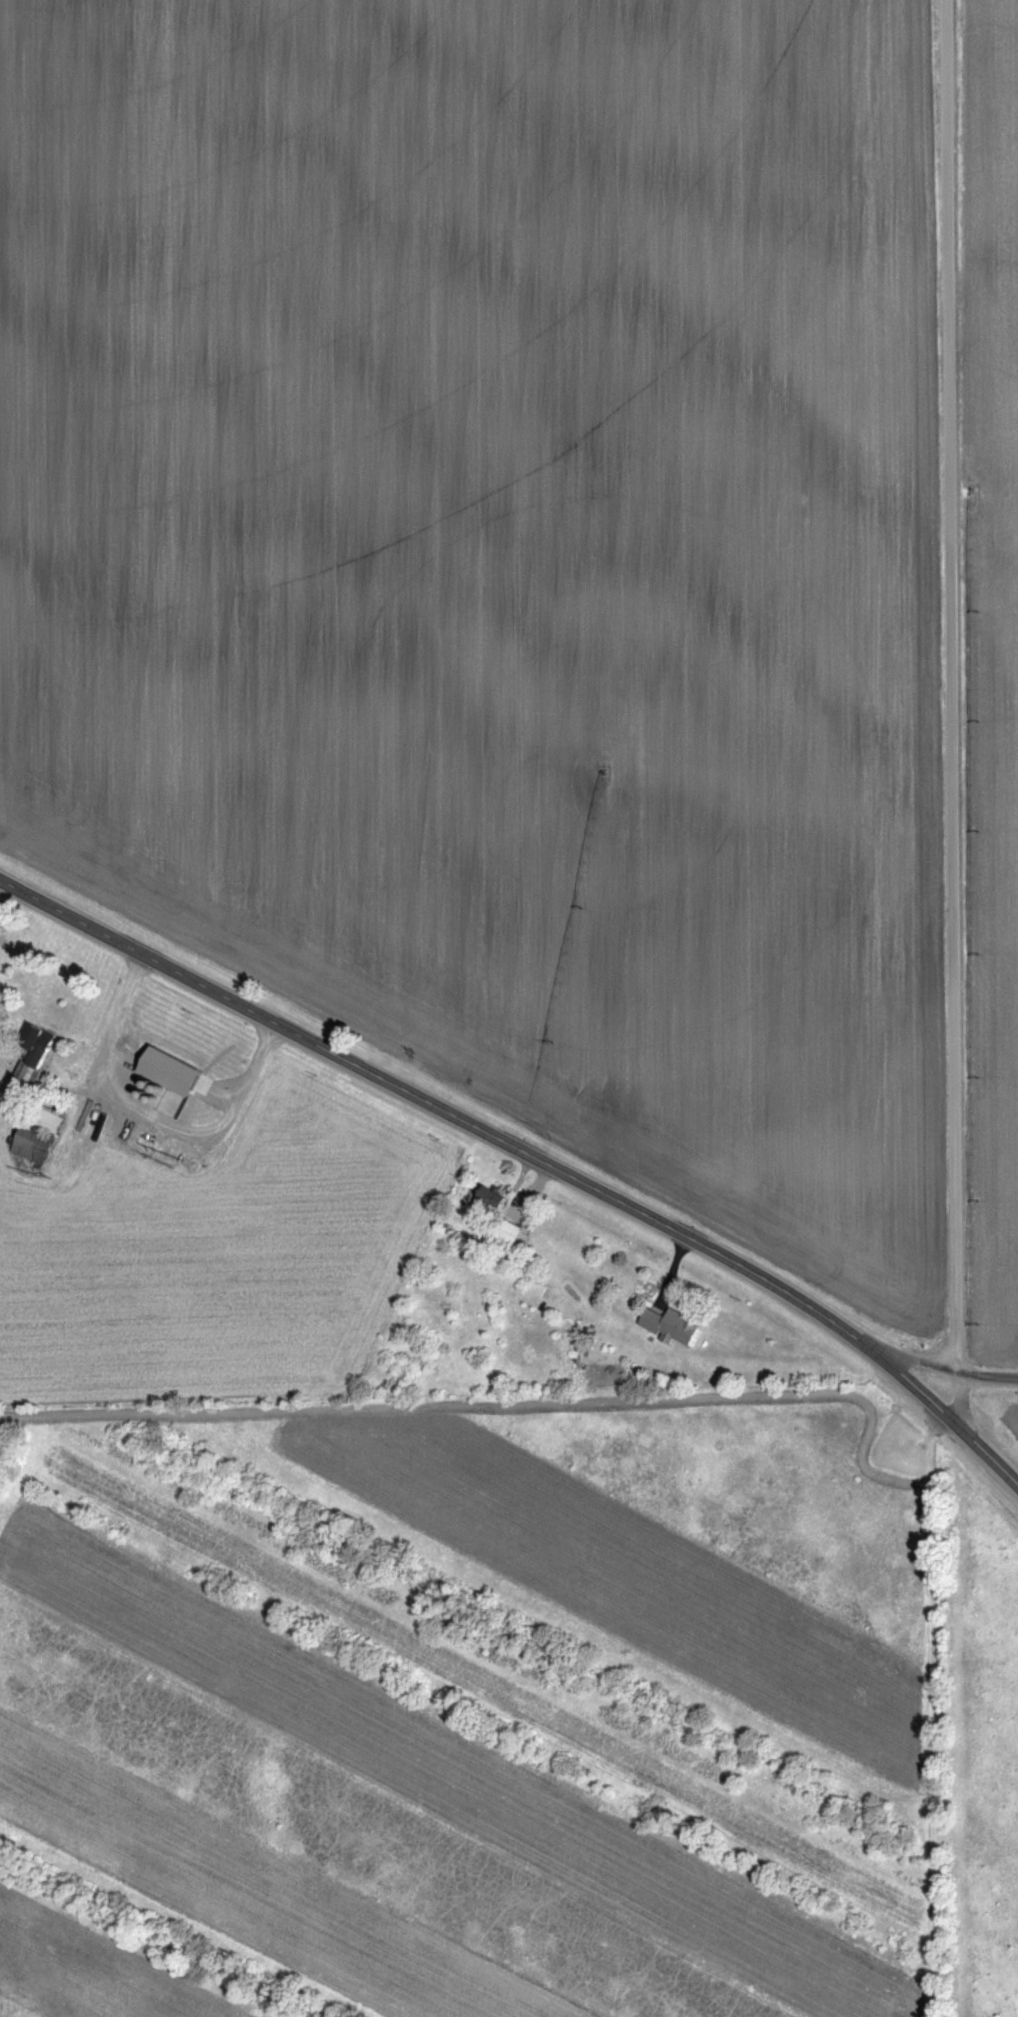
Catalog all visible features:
crop: (494, 548)
crop: (1003, 686)
road: (956, 715)
building: (34, 1056)
building: (136, 1096)
road: (149, 1112)
building: (51, 1119)
building: (34, 1143)
road: (529, 1156)
building: (495, 1195)
building: (509, 1231)
building: (671, 1324)
road: (941, 1367)
crop: (1005, 1427)

